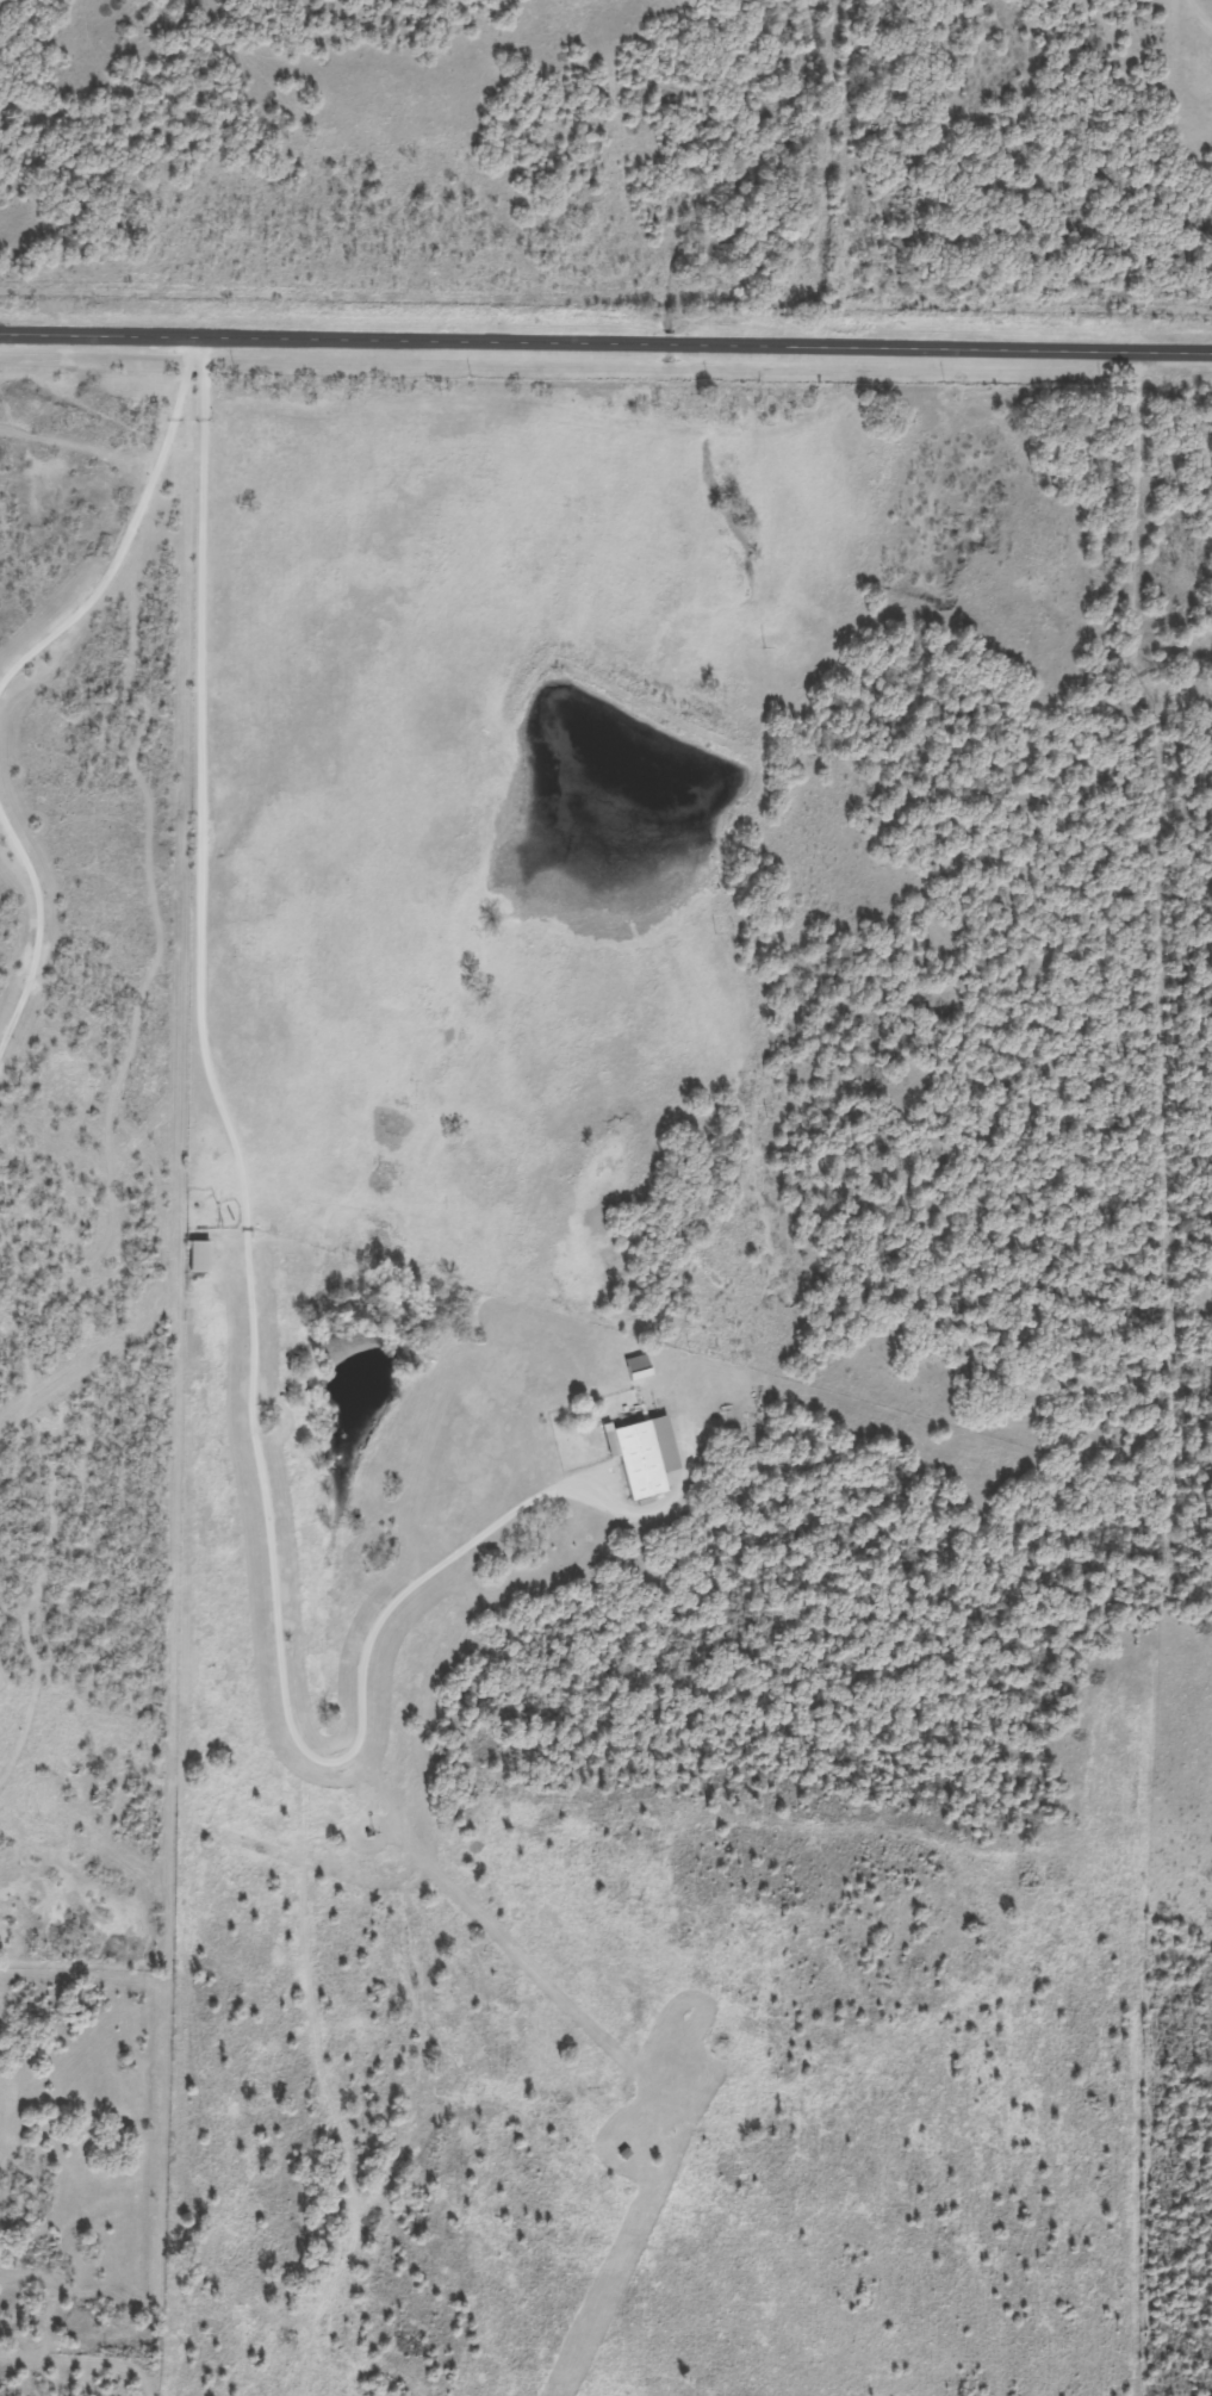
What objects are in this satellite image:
road: (605, 341)
building: (201, 1256)
building: (639, 1366)
building: (645, 1454)

